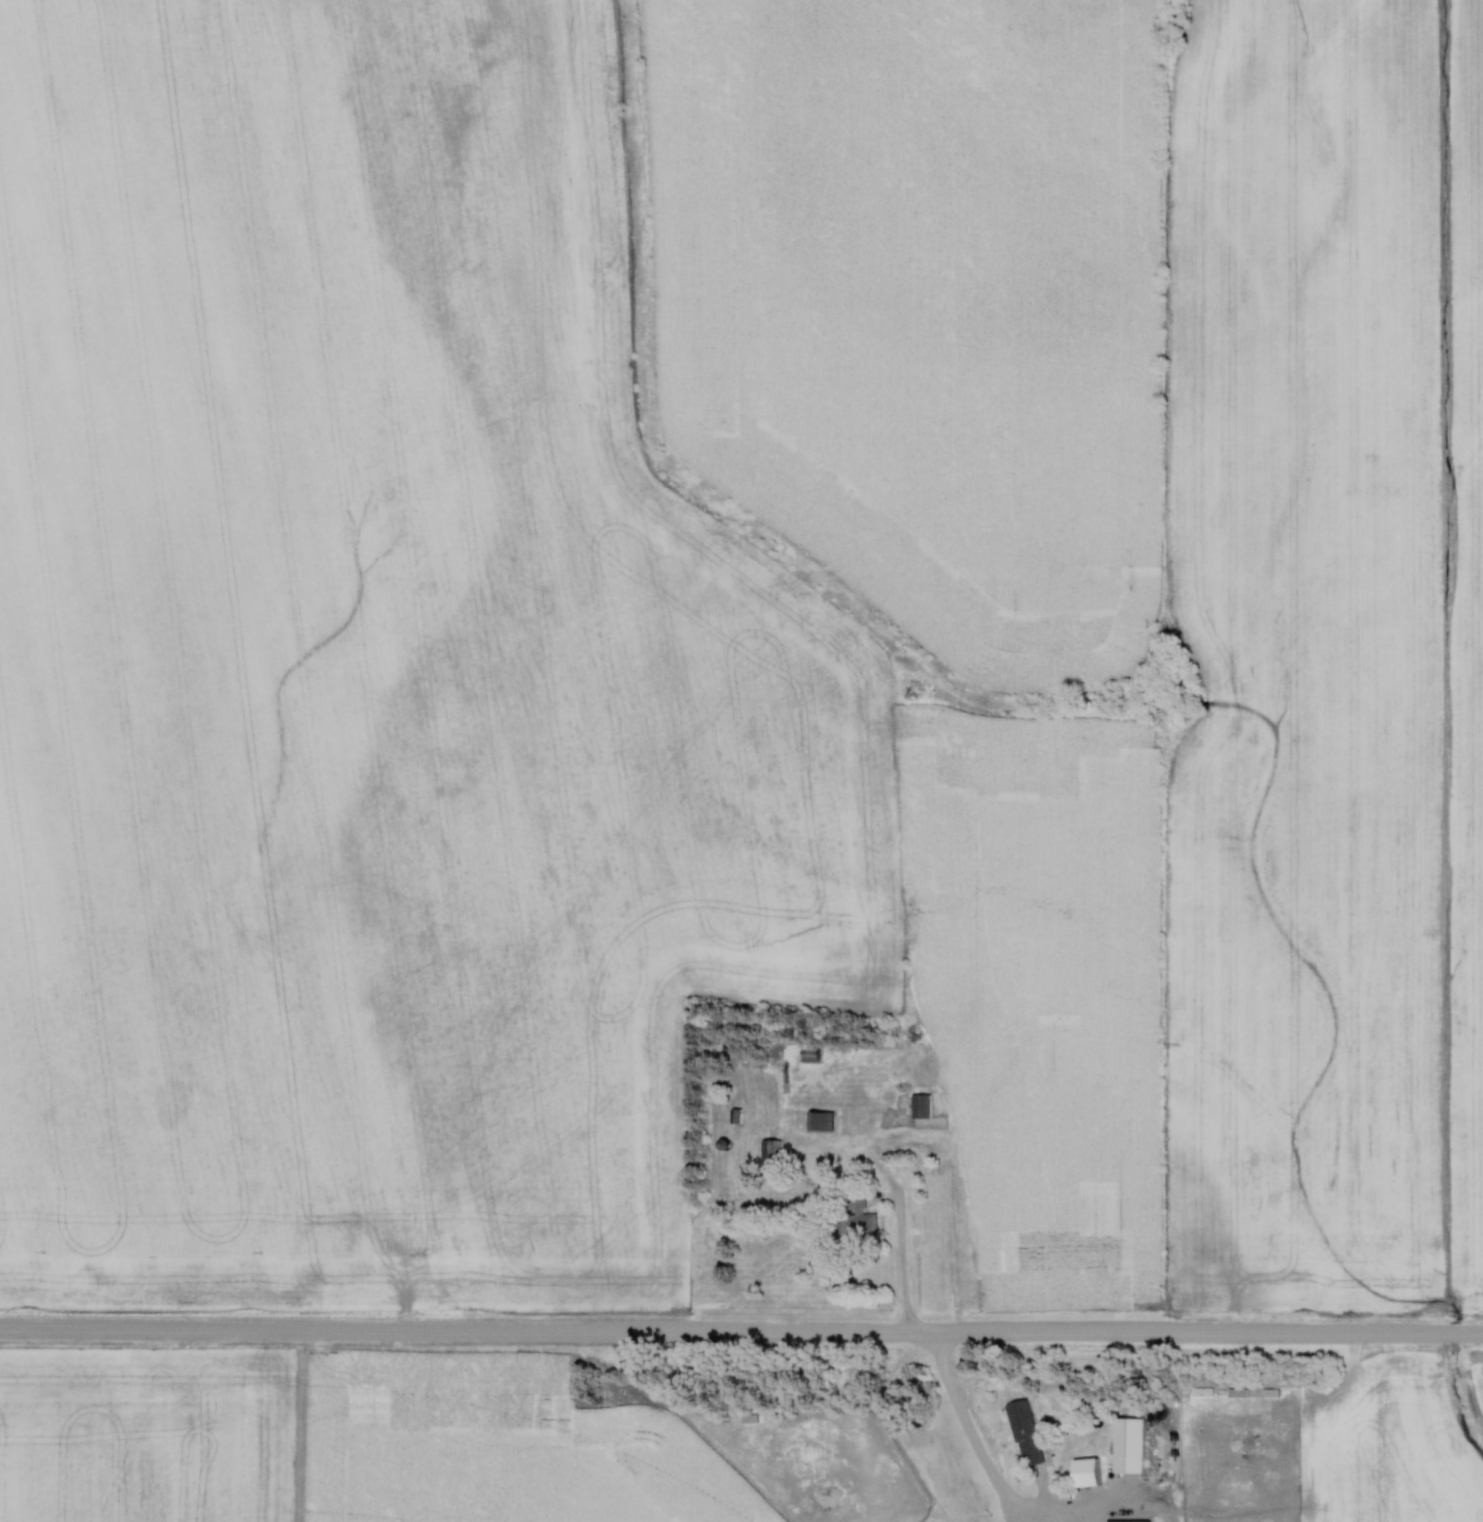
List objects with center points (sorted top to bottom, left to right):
building: (807, 1055)
building: (918, 1107)
building: (818, 1123)
building: (768, 1159)
building: (853, 1219)
road: (901, 1267)
road: (741, 1331)
road: (889, 1426)
road: (969, 1431)
building: (1021, 1433)
building: (1125, 1445)
road: (1118, 1499)
building: (1124, 1521)

